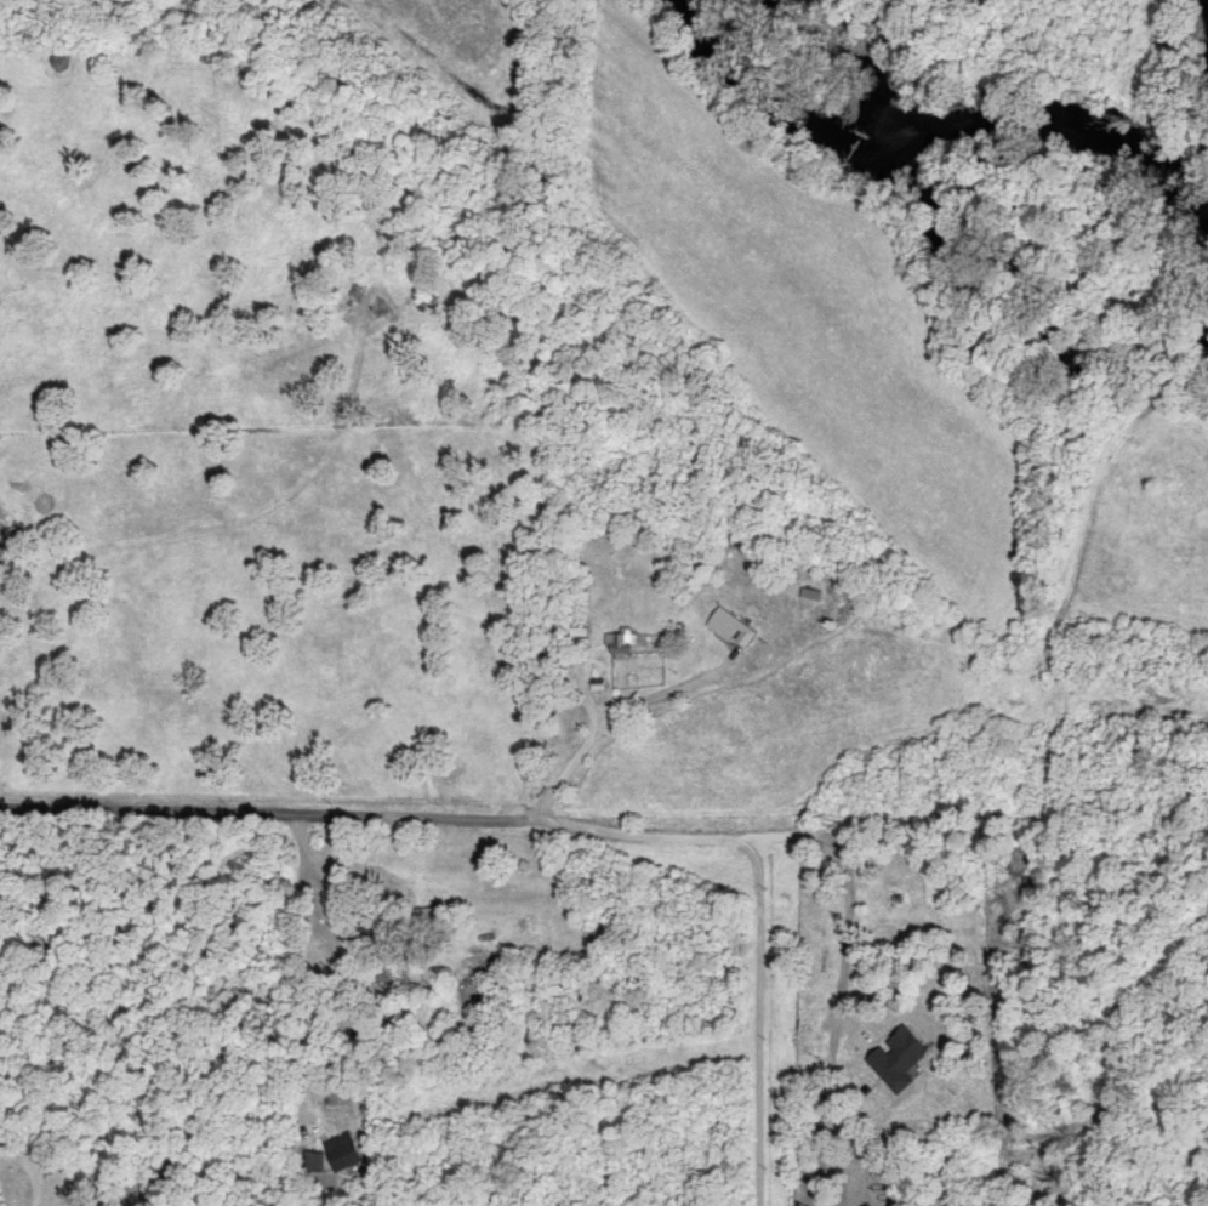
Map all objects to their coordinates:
building: (815, 590)
building: (735, 624)
building: (625, 639)
road: (680, 695)
road: (332, 815)
road: (849, 867)
building: (372, 932)
road: (304, 952)
road: (758, 1020)
building: (904, 1054)
building: (352, 1147)
building: (320, 1157)
road: (30, 1172)

